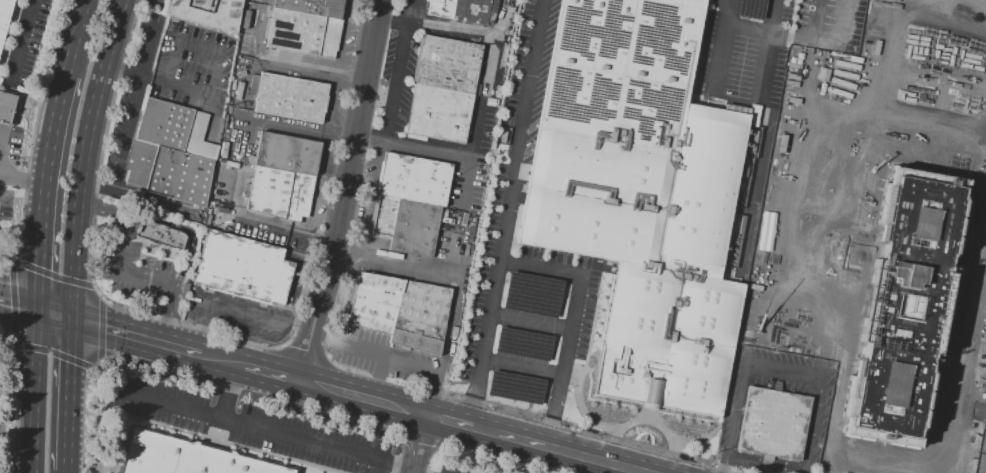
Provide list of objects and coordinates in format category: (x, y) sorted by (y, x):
road: (941, 1)
road: (728, 2)
road: (730, 2)
road: (969, 6)
building: (751, 8)
building: (464, 10)
road: (411, 12)
building: (207, 13)
road: (728, 14)
building: (4, 16)
building: (938, 17)
building: (305, 27)
road: (434, 28)
road: (748, 28)
road: (84, 39)
road: (22, 43)
road: (185, 49)
road: (932, 51)
road: (149, 52)
road: (719, 57)
road: (766, 58)
road: (834, 58)
road: (810, 59)
road: (956, 59)
road: (341, 61)
road: (315, 68)
road: (905, 68)
road: (125, 73)
road: (395, 82)
road: (694, 83)
building: (443, 89)
road: (197, 92)
building: (830, 94)
building: (292, 96)
road: (479, 101)
building: (7, 108)
road: (921, 108)
road: (942, 112)
building: (950, 118)
road: (822, 125)
road: (918, 125)
road: (287, 129)
road: (877, 133)
road: (129, 134)
road: (844, 134)
road: (828, 138)
road: (342, 140)
road: (915, 142)
road: (411, 145)
road: (841, 148)
road: (328, 150)
road: (4, 151)
building: (171, 152)
road: (913, 156)
road: (90, 159)
road: (917, 163)
road: (336, 166)
road: (985, 175)
building: (283, 176)
road: (526, 177)
road: (27, 182)
road: (786, 189)
road: (343, 191)
road: (754, 192)
road: (53, 193)
building: (795, 193)
building: (641, 194)
road: (144, 198)
road: (368, 198)
road: (316, 201)
road: (836, 201)
building: (410, 203)
road: (736, 203)
road: (856, 205)
road: (807, 210)
road: (506, 213)
road: (279, 233)
building: (159, 234)
road: (811, 252)
road: (124, 253)
road: (832, 258)
road: (798, 260)
road: (745, 261)
road: (852, 262)
road: (394, 265)
road: (460, 267)
building: (244, 268)
road: (841, 269)
road: (794, 270)
road: (819, 272)
road: (178, 289)
road: (765, 289)
building: (532, 294)
road: (300, 295)
road: (856, 295)
road: (849, 296)
building: (903, 304)
road: (21, 305)
road: (595, 309)
traffic signals: (42, 311)
building: (401, 311)
road: (236, 313)
road: (58, 316)
road: (531, 317)
road: (833, 317)
road: (801, 321)
traffic signals: (75, 322)
road: (573, 323)
road: (137, 337)
building: (523, 344)
road: (283, 346)
road: (445, 347)
road: (334, 349)
road: (304, 352)
road: (734, 355)
road: (586, 357)
road: (940, 359)
road: (221, 360)
road: (393, 360)
road: (582, 368)
road: (522, 369)
road: (775, 372)
road: (271, 374)
road: (377, 379)
building: (515, 387)
road: (38, 392)
road: (230, 392)
road: (72, 397)
road: (359, 398)
road: (954, 404)
flagpole: (236, 406)
road: (645, 413)
building: (773, 423)
road: (977, 425)
road: (266, 430)
road: (594, 432)
road: (612, 433)
building: (856, 439)
road: (416, 443)
road: (533, 444)
building: (922, 444)
road: (674, 447)
road: (877, 449)
building: (186, 456)
road: (875, 464)
road: (632, 471)
road: (415, 472)

